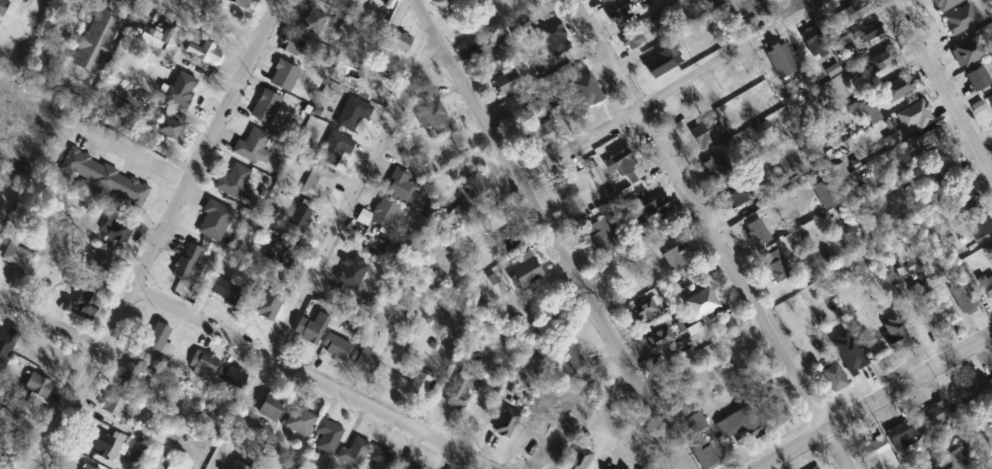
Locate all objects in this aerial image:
building: (50, 0)
building: (343, 0)
building: (454, 0)
building: (604, 1)
building: (78, 2)
building: (474, 5)
building: (3, 6)
building: (239, 6)
building: (856, 10)
building: (623, 17)
road: (217, 22)
building: (314, 22)
building: (871, 31)
building: (146, 36)
building: (632, 37)
building: (96, 41)
building: (401, 42)
building: (815, 42)
building: (200, 49)
building: (294, 51)
building: (968, 51)
building: (488, 53)
building: (887, 58)
building: (782, 60)
building: (661, 63)
building: (284, 76)
building: (977, 79)
building: (507, 83)
building: (905, 85)
road: (942, 85)
building: (182, 87)
building: (581, 87)
road: (676, 90)
building: (990, 100)
building: (266, 107)
building: (689, 109)
building: (920, 110)
building: (351, 115)
building: (434, 118)
building: (169, 128)
building: (540, 132)
building: (707, 134)
building: (932, 139)
building: (253, 148)
building: (335, 150)
road: (137, 156)
building: (947, 164)
building: (629, 169)
building: (714, 169)
building: (427, 170)
building: (104, 179)
building: (235, 180)
building: (317, 182)
building: (476, 184)
building: (399, 186)
building: (568, 187)
building: (736, 194)
building: (825, 194)
building: (968, 200)
building: (653, 212)
building: (384, 214)
building: (463, 214)
building: (301, 218)
building: (214, 220)
building: (980, 227)
building: (117, 229)
road: (159, 233)
building: (758, 233)
road: (550, 235)
road: (712, 235)
building: (603, 238)
building: (510, 240)
road: (324, 252)
building: (280, 253)
building: (16, 257)
building: (678, 257)
building: (98, 264)
building: (184, 266)
building: (777, 266)
building: (526, 272)
building: (985, 288)
building: (222, 289)
building: (82, 298)
building: (963, 299)
building: (702, 303)
building: (644, 310)
building: (934, 316)
road: (50, 323)
building: (311, 329)
building: (894, 334)
building: (157, 337)
building: (660, 339)
building: (7, 342)
building: (336, 348)
building: (573, 359)
building: (365, 362)
building: (203, 365)
building: (129, 374)
building: (233, 377)
road: (311, 378)
building: (835, 378)
building: (419, 385)
building: (40, 387)
building: (460, 392)
building: (980, 392)
road: (877, 402)
building: (116, 407)
building: (270, 407)
road: (31, 408)
building: (775, 410)
building: (935, 415)
building: (300, 421)
building: (506, 422)
building: (696, 423)
building: (741, 425)
building: (902, 435)
building: (328, 436)
building: (99, 444)
building: (551, 450)
building: (354, 453)
building: (705, 455)
building: (879, 455)
building: (382, 459)
building: (580, 459)
building: (955, 461)
building: (87, 467)
building: (408, 467)
building: (242, 468)

